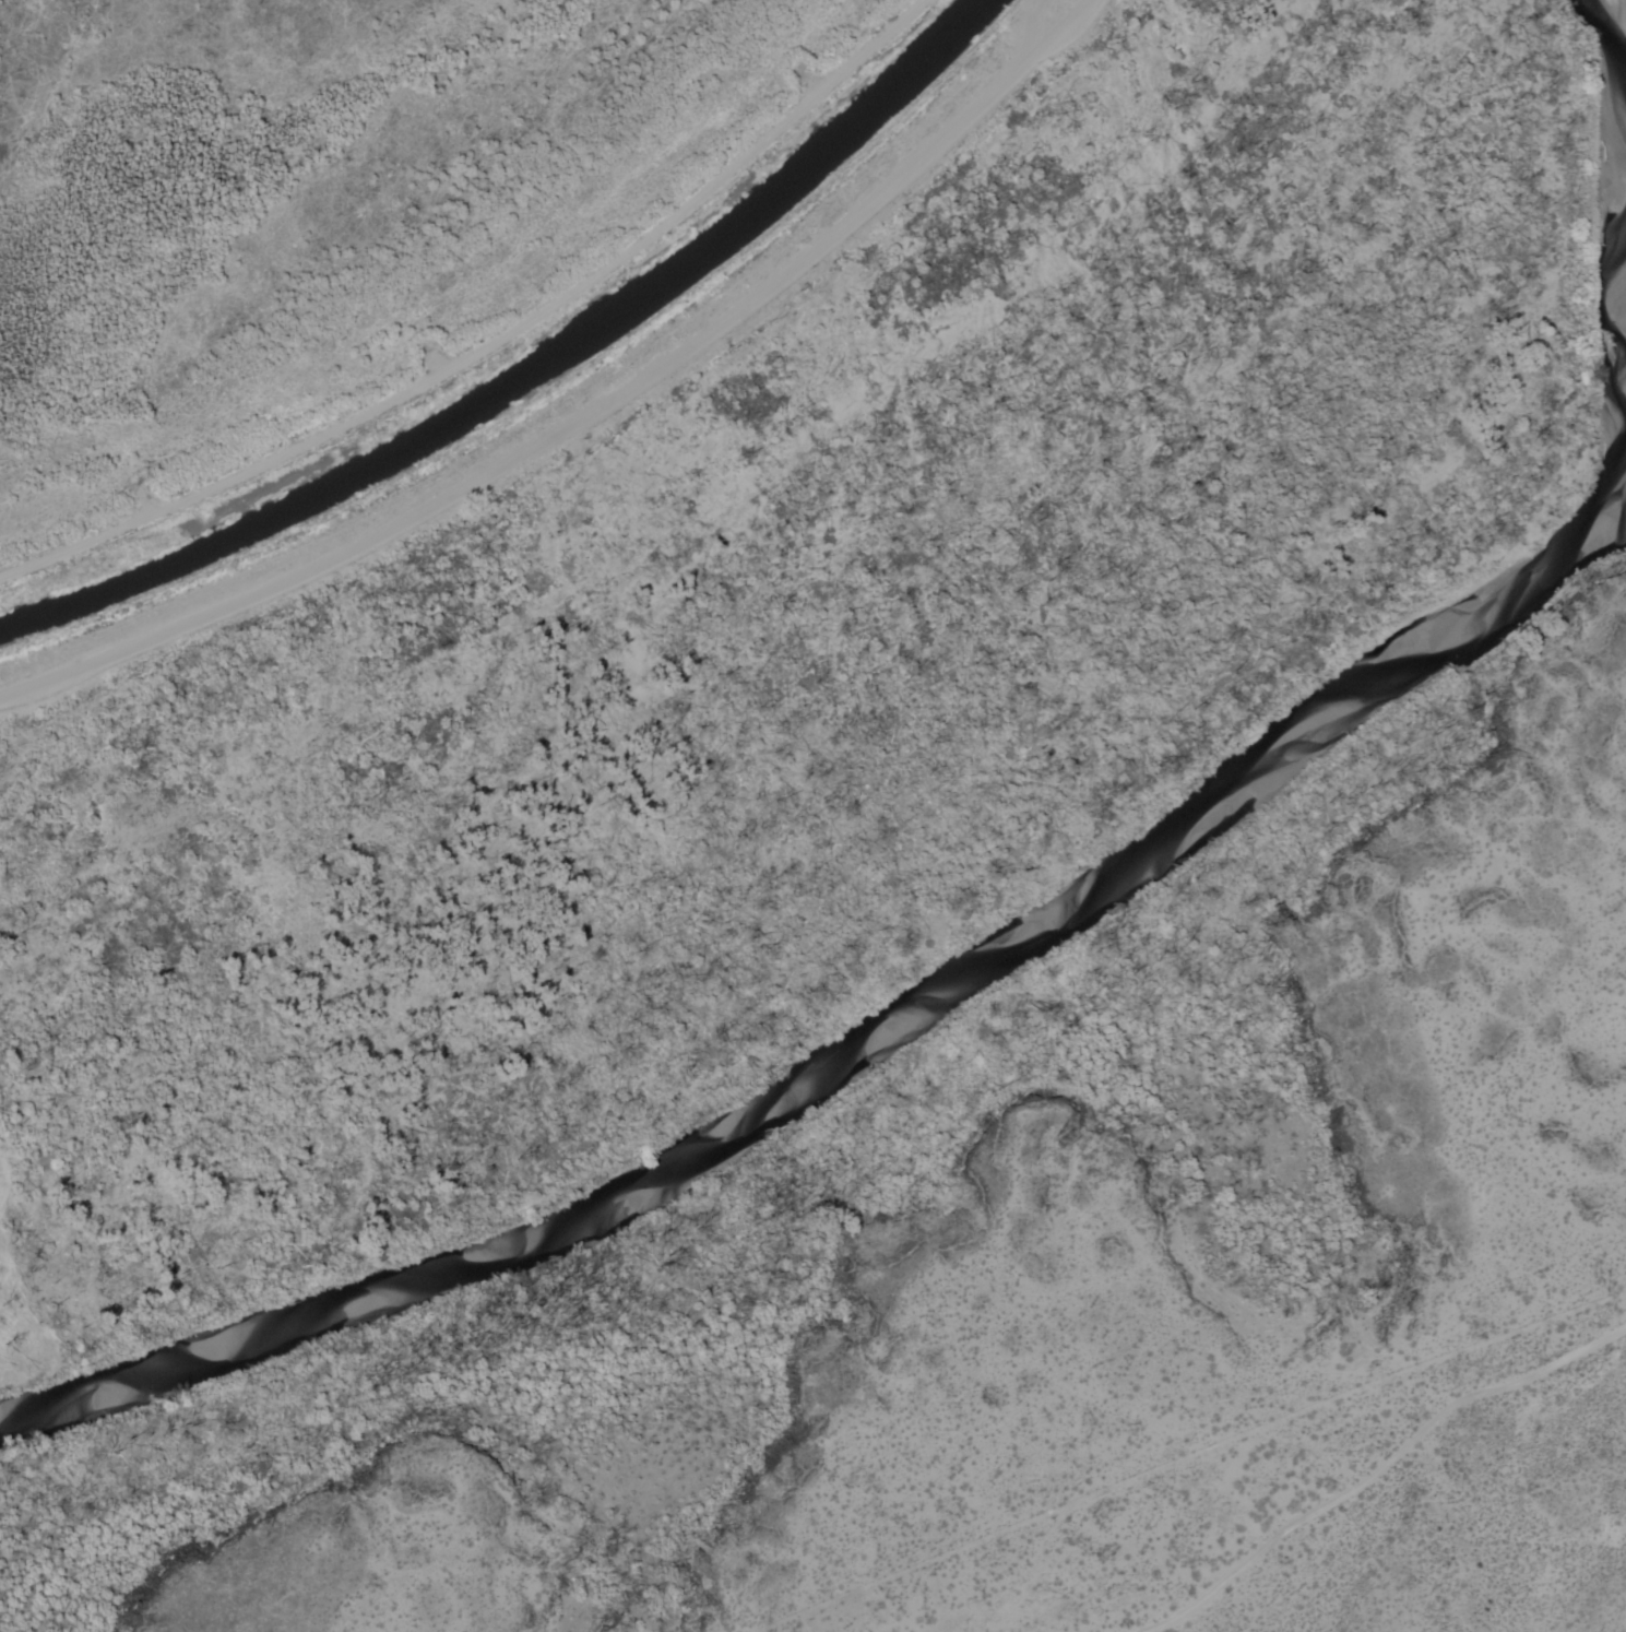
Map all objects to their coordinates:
river: (1618, 72)
road: (494, 339)
road: (582, 413)
river: (863, 1034)
road: (1368, 1481)

